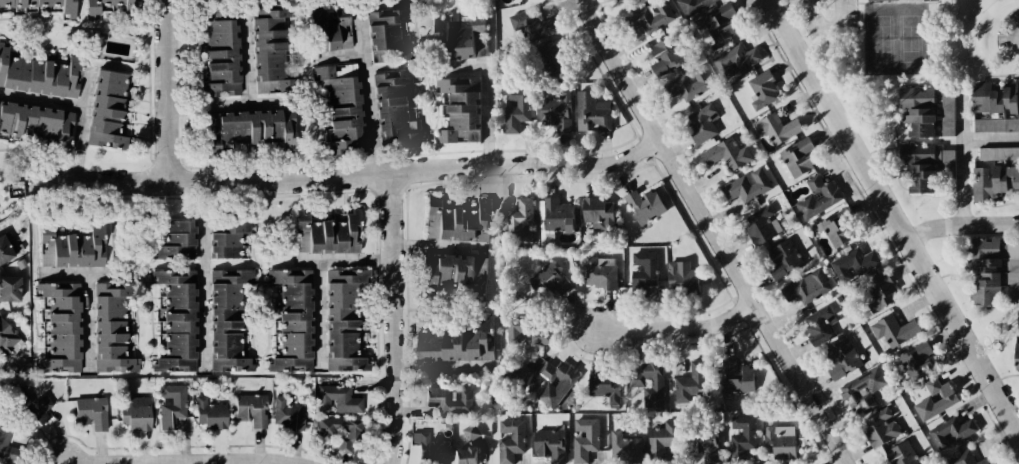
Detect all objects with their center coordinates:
building: (615, 0)
building: (880, 0)
building: (44, 6)
building: (692, 6)
building: (92, 12)
building: (650, 17)
building: (719, 23)
building: (531, 26)
road: (824, 26)
building: (330, 31)
building: (386, 36)
building: (460, 37)
building: (269, 48)
road: (340, 54)
building: (668, 54)
building: (221, 56)
building: (553, 58)
road: (247, 59)
building: (735, 60)
building: (39, 74)
building: (687, 85)
road: (167, 90)
building: (762, 90)
road: (369, 96)
road: (43, 99)
road: (487, 100)
road: (230, 103)
building: (395, 107)
building: (995, 107)
building: (516, 108)
building: (107, 110)
building: (460, 110)
building: (918, 110)
building: (341, 111)
building: (557, 112)
building: (592, 112)
building: (947, 115)
building: (702, 123)
building: (251, 128)
building: (776, 128)
road: (80, 146)
road: (991, 149)
building: (727, 154)
building: (998, 154)
building: (798, 157)
building: (927, 167)
road: (389, 176)
road: (964, 183)
building: (994, 183)
building: (747, 186)
building: (818, 198)
building: (644, 206)
building: (598, 213)
building: (558, 216)
road: (892, 216)
building: (457, 221)
building: (519, 222)
building: (762, 226)
road: (934, 228)
building: (837, 229)
building: (327, 232)
road: (714, 232)
building: (227, 237)
building: (177, 241)
road: (437, 246)
building: (72, 247)
road: (120, 259)
building: (783, 259)
building: (853, 264)
building: (644, 269)
building: (992, 270)
building: (453, 272)
road: (203, 273)
building: (600, 273)
road: (316, 274)
building: (682, 278)
building: (548, 279)
building: (807, 287)
building: (9, 288)
building: (880, 291)
road: (438, 293)
road: (88, 319)
building: (294, 319)
building: (177, 320)
building: (228, 320)
road: (396, 320)
building: (345, 321)
building: (819, 325)
building: (61, 327)
building: (112, 327)
road: (677, 329)
building: (1018, 329)
building: (894, 330)
building: (529, 332)
building: (7, 339)
building: (456, 343)
building: (1016, 357)
building: (842, 359)
building: (916, 362)
road: (440, 368)
building: (559, 376)
building: (736, 377)
building: (636, 382)
building: (691, 383)
building: (604, 385)
building: (863, 390)
building: (338, 399)
building: (935, 399)
building: (450, 400)
building: (172, 405)
building: (42, 408)
building: (252, 409)
building: (91, 413)
building: (135, 413)
building: (210, 414)
building: (287, 414)
building: (880, 427)
building: (339, 431)
building: (951, 431)
building: (470, 432)
building: (741, 436)
building: (663, 438)
building: (585, 439)
building: (510, 442)
building: (779, 442)
building: (6, 444)
building: (704, 444)
building: (549, 445)
building: (624, 448)
building: (433, 450)
building: (902, 454)
building: (465, 456)
building: (967, 458)
road: (189, 462)
road: (231, 463)

